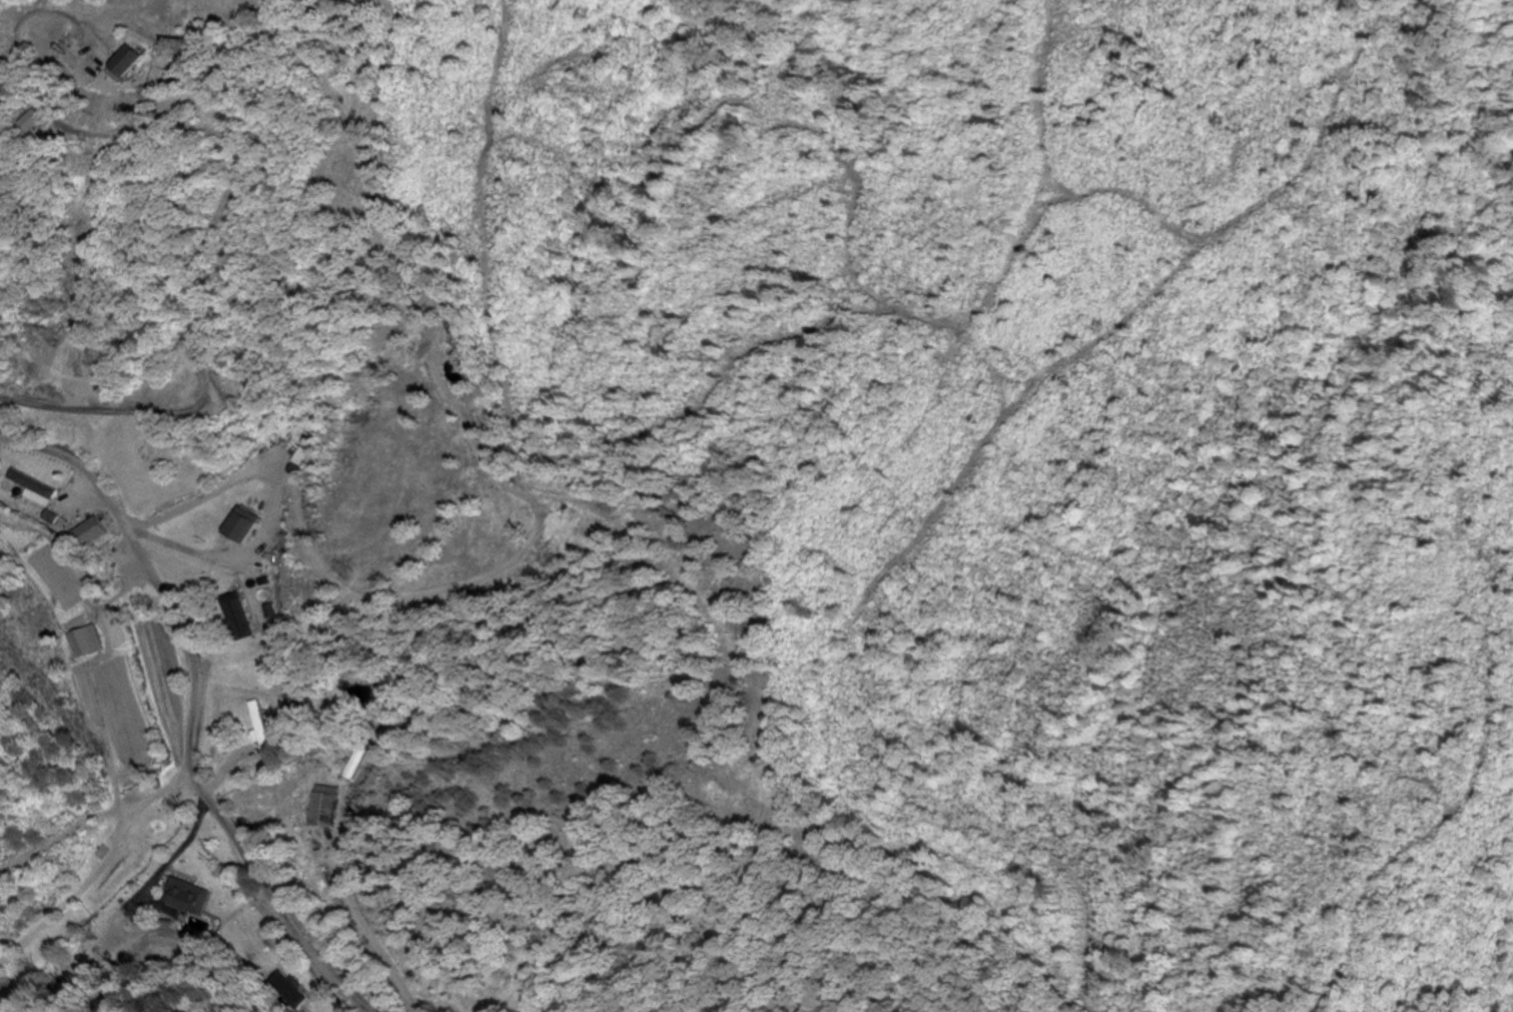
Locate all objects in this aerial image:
building: (127, 58)
building: (450, 327)
building: (31, 485)
building: (240, 526)
building: (89, 533)
building: (237, 616)
building: (85, 642)
road: (190, 712)
building: (257, 723)
building: (356, 761)
building: (326, 806)
building: (190, 905)
road: (811, 962)

